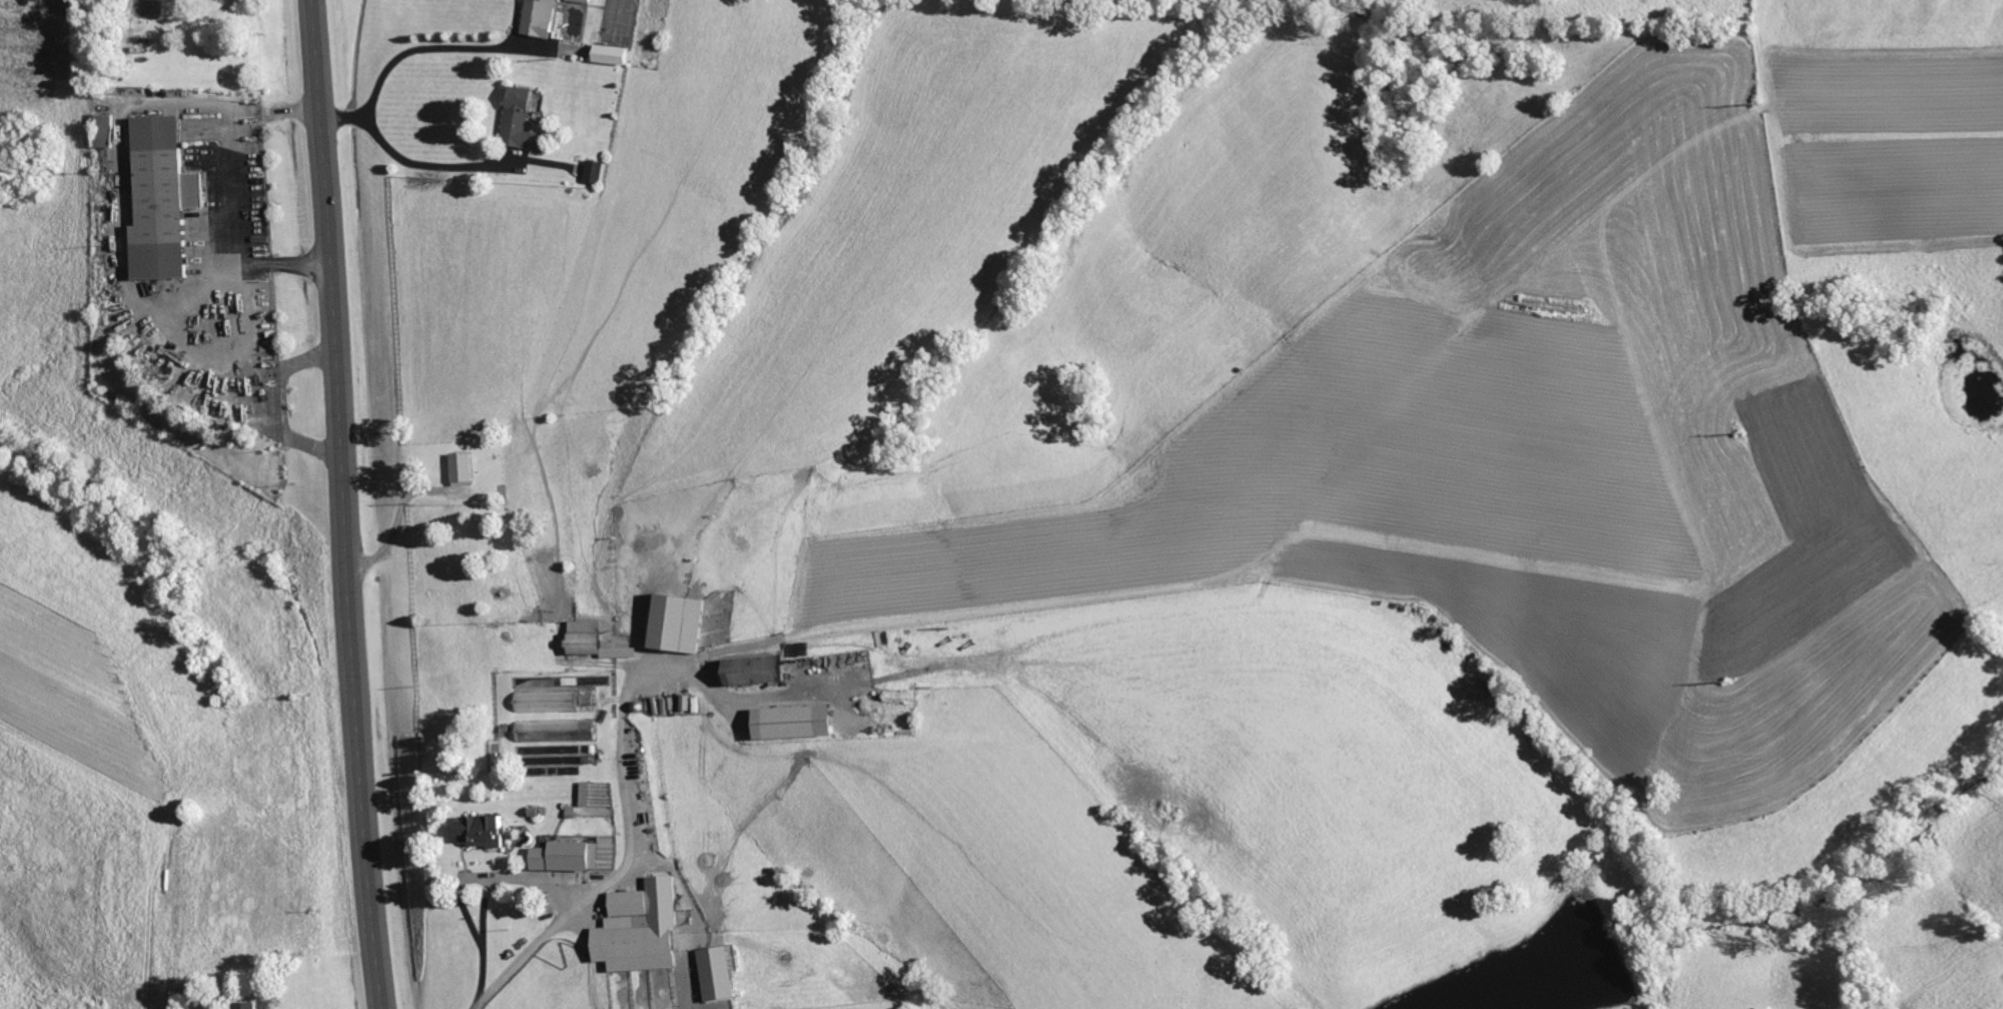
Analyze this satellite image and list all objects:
building: (583, 0)
building: (542, 18)
road: (411, 59)
building: (522, 118)
building: (107, 130)
building: (597, 171)
road: (431, 176)
building: (166, 199)
building: (465, 468)
road: (341, 504)
building: (684, 621)
building: (590, 636)
building: (762, 668)
building: (558, 700)
building: (800, 720)
building: (559, 730)
building: (588, 793)
building: (489, 829)
building: (571, 855)
building: (645, 927)
building: (721, 973)
building: (245, 1004)

